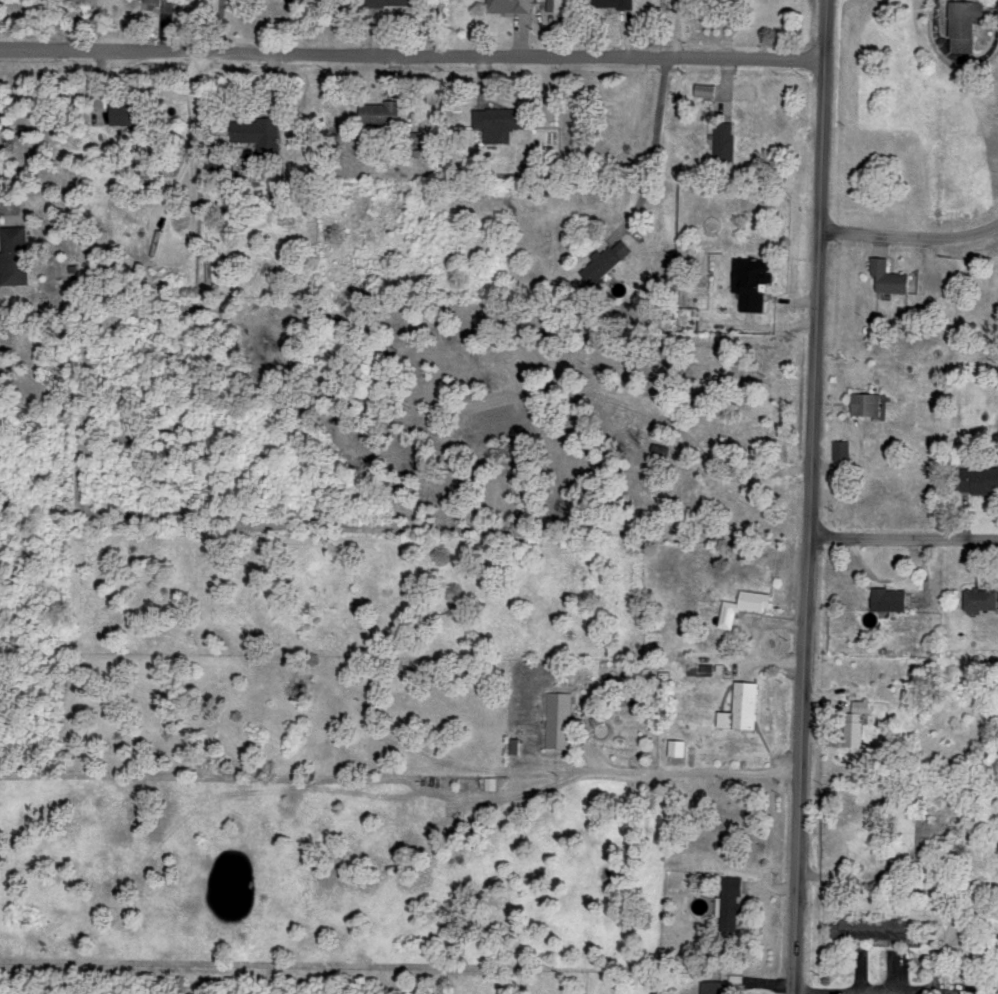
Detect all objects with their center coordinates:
building: (156, 0)
building: (730, 0)
building: (398, 2)
building: (616, 3)
building: (558, 4)
building: (513, 5)
building: (969, 22)
road: (681, 28)
road: (413, 55)
building: (134, 112)
building: (383, 112)
building: (503, 122)
building: (261, 132)
building: (727, 142)
road: (653, 149)
building: (538, 161)
building: (218, 164)
road: (909, 237)
building: (18, 254)
building: (604, 259)
building: (886, 276)
building: (748, 281)
building: (866, 403)
building: (840, 448)
building: (978, 478)
road: (811, 496)
road: (904, 538)
building: (885, 597)
building: (977, 597)
building: (739, 605)
building: (738, 706)
building: (558, 718)
building: (851, 732)
building: (674, 746)
road: (686, 773)
building: (923, 806)
building: (886, 844)
road: (885, 887)
building: (728, 901)
building: (871, 927)
building: (714, 986)
road: (919, 990)

